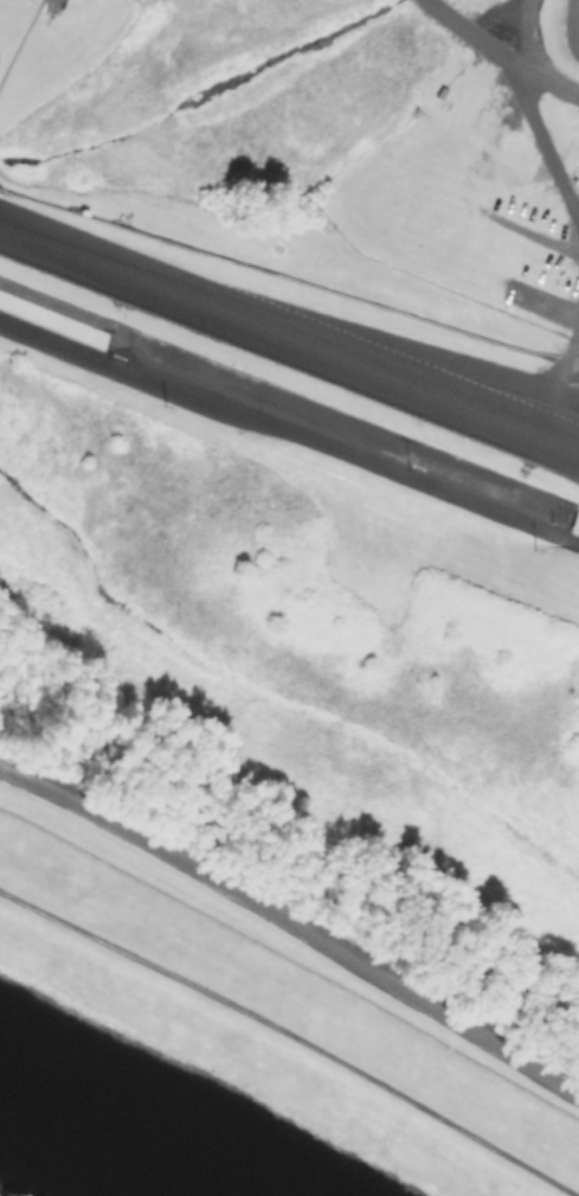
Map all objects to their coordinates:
raceway: (575, 23)
road: (498, 53)
stadium: (315, 243)
raceway: (288, 350)
raceway: (365, 352)
road: (564, 360)
road: (290, 431)
road: (292, 920)
park: (269, 1026)
road: (294, 1032)

